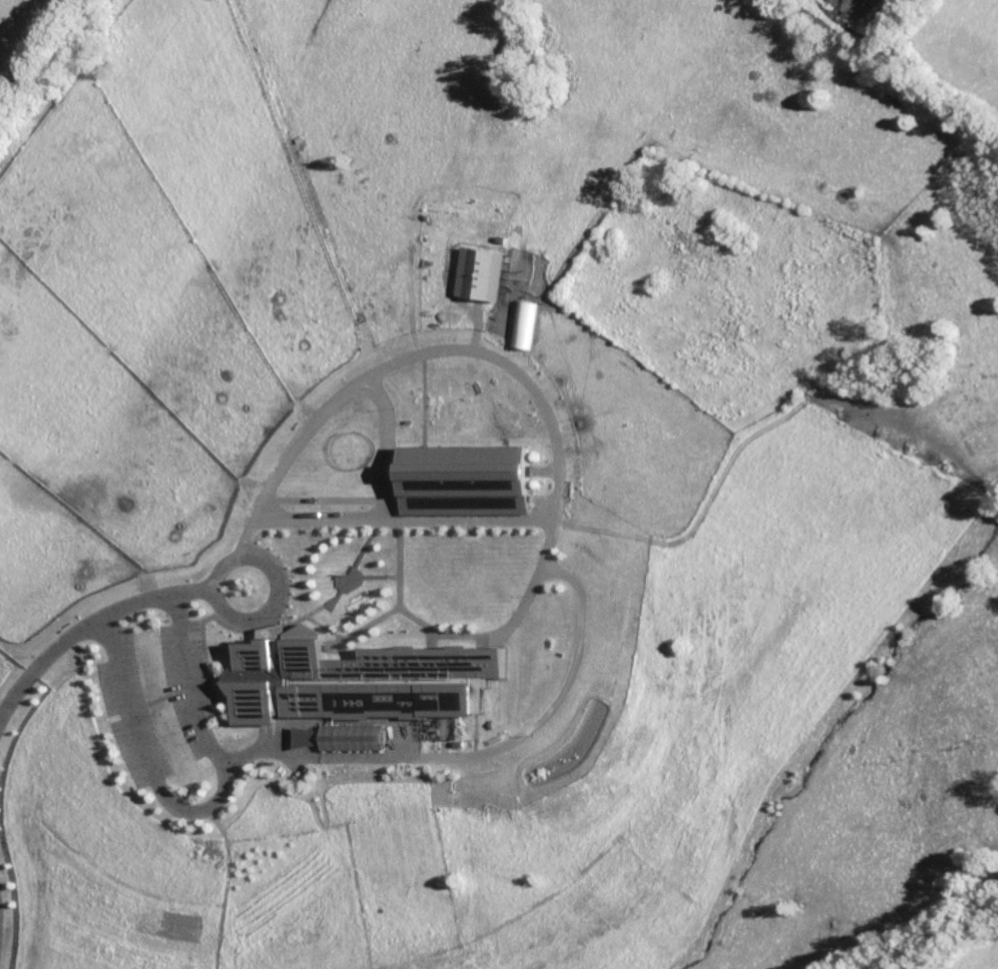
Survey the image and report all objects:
building: (481, 274)
building: (525, 324)
road: (467, 351)
building: (464, 480)
road: (385, 503)
road: (253, 558)
road: (87, 622)
building: (357, 680)
road: (561, 692)
building: (305, 737)
building: (352, 737)
road: (202, 810)

